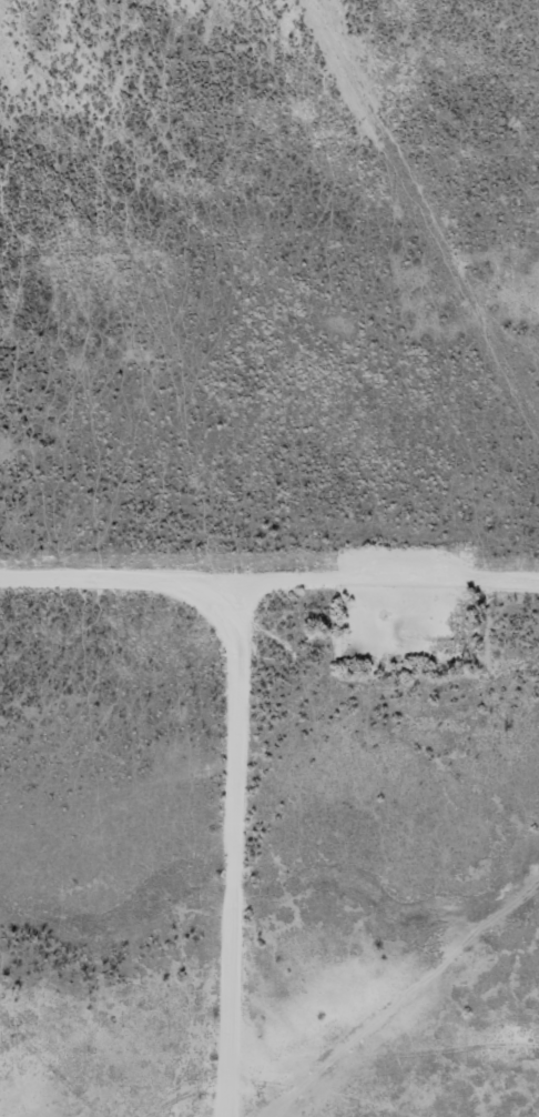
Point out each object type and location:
road: (110, 615)
road: (215, 702)

